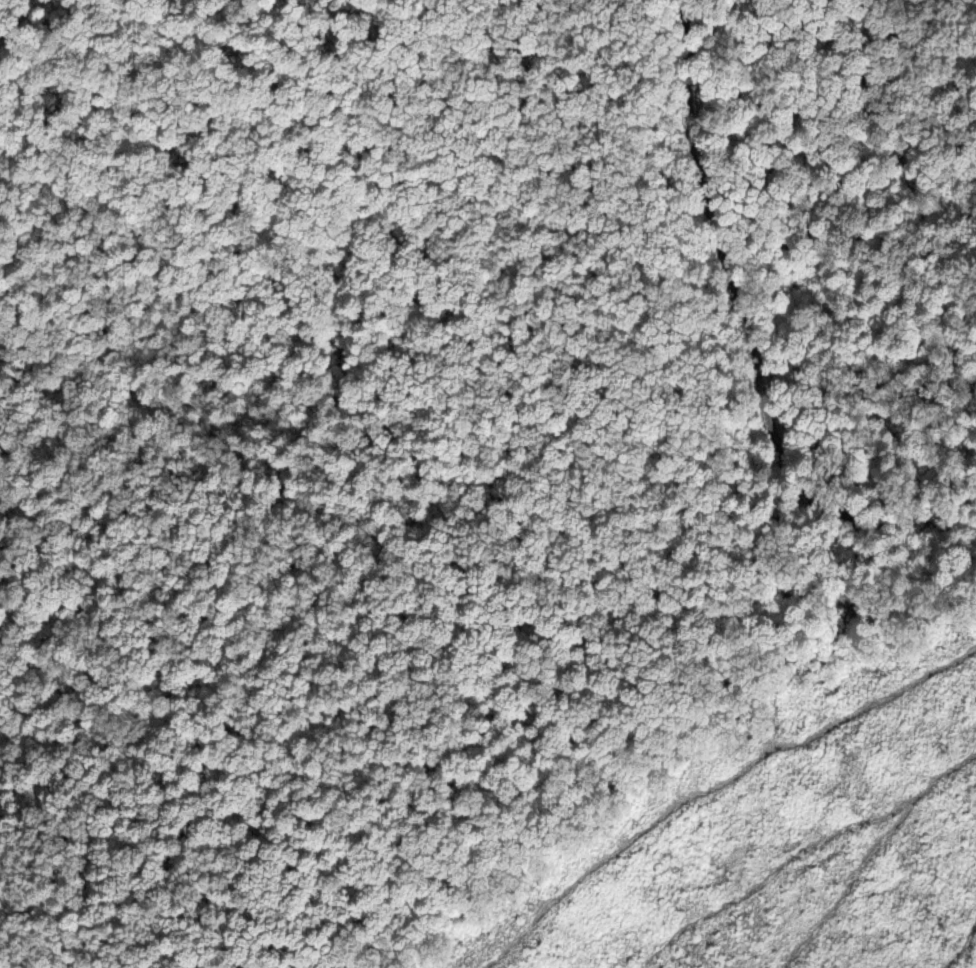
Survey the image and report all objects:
road: (753, 333)

